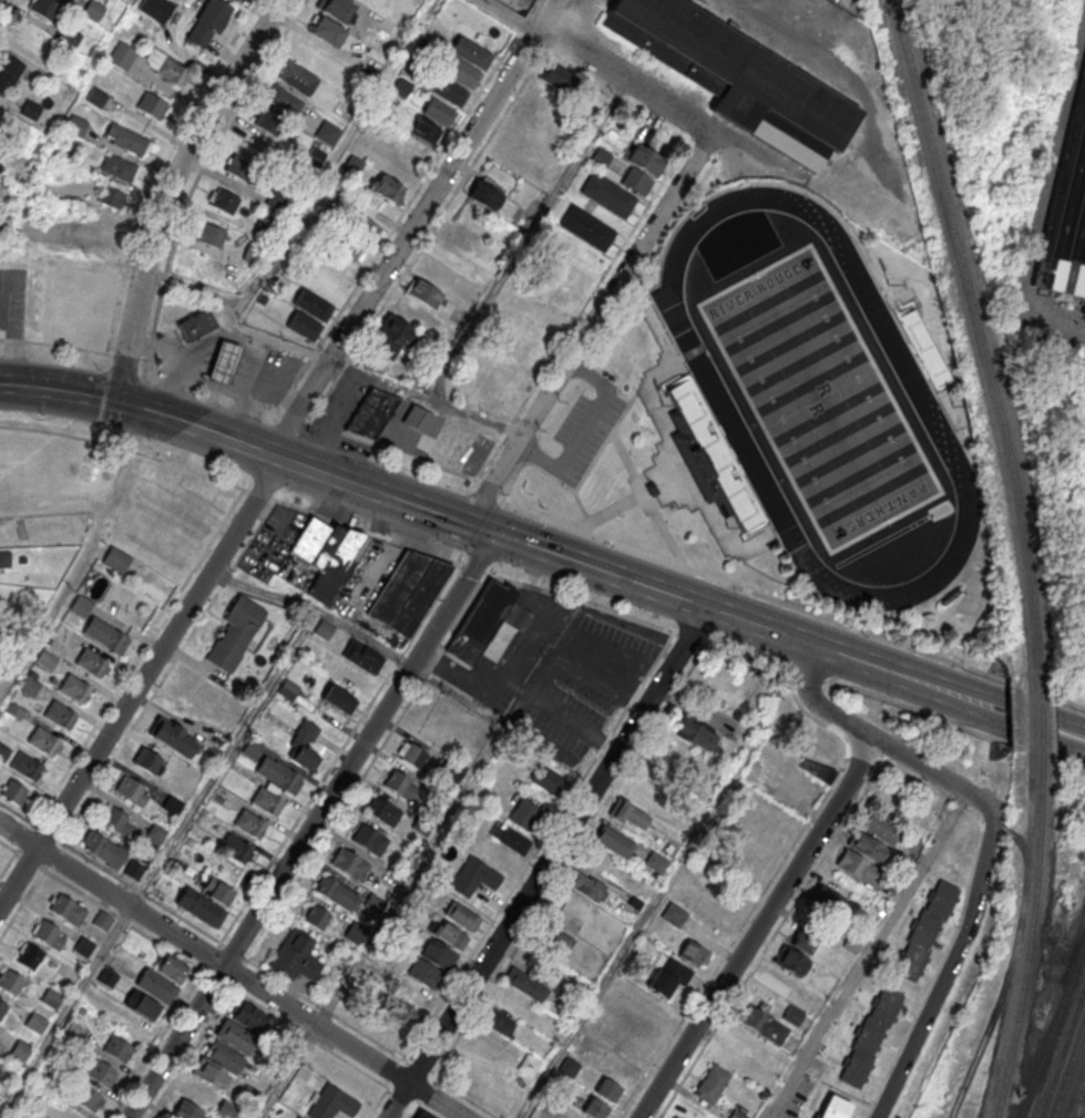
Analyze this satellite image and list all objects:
building: (47, 8)
building: (156, 8)
building: (93, 9)
building: (338, 9)
road: (508, 16)
road: (544, 16)
building: (207, 23)
building: (327, 31)
building: (122, 55)
building: (165, 66)
building: (8, 71)
building: (460, 71)
building: (297, 78)
building: (557, 78)
building: (738, 78)
road: (625, 81)
building: (96, 96)
building: (283, 99)
building: (152, 105)
building: (539, 105)
building: (439, 111)
building: (269, 122)
building: (76, 124)
building: (423, 130)
building: (126, 139)
road: (745, 150)
building: (414, 151)
road: (339, 152)
building: (64, 154)
building: (600, 158)
building: (645, 158)
building: (238, 166)
building: (119, 167)
building: (636, 181)
building: (386, 186)
road: (170, 187)
building: (485, 194)
building: (607, 194)
building: (110, 195)
building: (279, 199)
building: (224, 201)
building: (1071, 218)
building: (586, 227)
building: (209, 233)
road: (525, 240)
road: (72, 258)
building: (339, 266)
road: (192, 288)
building: (424, 293)
building: (557, 293)
parking lot: (12, 302)
building: (313, 304)
building: (196, 324)
building: (303, 325)
building: (406, 328)
road: (593, 328)
railway: (981, 341)
road: (73, 348)
building: (521, 352)
building: (222, 360)
road: (365, 377)
road: (212, 381)
road: (170, 389)
track: (714, 390)
road: (93, 397)
park: (812, 403)
building: (371, 412)
building: (417, 418)
road: (244, 419)
building: (686, 421)
road: (586, 433)
road: (124, 448)
road: (268, 469)
traffic signals: (470, 524)
road: (278, 527)
traffic signals: (494, 533)
parking lot: (273, 540)
building: (326, 554)
building: (4, 558)
building: (115, 558)
road: (488, 574)
road: (634, 583)
building: (408, 591)
building: (80, 604)
road: (541, 618)
building: (487, 619)
building: (239, 634)
building: (64, 635)
building: (105, 636)
road: (146, 642)
building: (362, 656)
building: (45, 660)
building: (91, 663)
parking lot: (556, 673)
road: (158, 685)
building: (29, 686)
building: (74, 688)
building: (288, 689)
road: (522, 691)
building: (339, 699)
building: (60, 715)
railway: (1038, 721)
building: (693, 732)
building: (172, 736)
road: (876, 738)
building: (43, 741)
building: (305, 743)
building: (252, 749)
building: (3, 752)
road: (339, 753)
building: (411, 755)
building: (147, 760)
building: (25, 766)
building: (817, 770)
building: (279, 775)
building: (549, 781)
building: (401, 787)
building: (131, 790)
building: (13, 792)
building: (267, 801)
building: (173, 804)
building: (385, 812)
road: (17, 813)
building: (628, 813)
building: (524, 814)
building: (116, 821)
building: (249, 824)
road: (310, 825)
building: (880, 827)
building: (154, 835)
building: (511, 839)
building: (370, 840)
building: (614, 841)
road: (539, 845)
building: (866, 847)
building: (236, 849)
building: (112, 854)
building: (655, 861)
road: (156, 863)
road: (546, 863)
road: (8, 864)
building: (349, 864)
building: (859, 868)
building: (473, 878)
building: (585, 885)
building: (337, 892)
road: (653, 900)
road: (101, 905)
building: (201, 907)
building: (68, 911)
building: (674, 914)
building: (316, 915)
building: (461, 916)
building: (102, 921)
road: (758, 929)
building: (927, 930)
building: (355, 932)
building: (49, 935)
railway: (1030, 936)
building: (451, 937)
building: (806, 937)
building: (554, 942)
building: (83, 947)
building: (694, 954)
building: (439, 955)
road: (872, 955)
building: (30, 957)
building: (295, 957)
building: (790, 961)
road: (231, 972)
road: (946, 972)
building: (65, 973)
building: (426, 975)
building: (106, 976)
road: (275, 977)
building: (668, 977)
building: (777, 979)
building: (10, 983)
building: (525, 984)
building: (156, 986)
building: (417, 996)
building: (51, 998)
building: (143, 1005)
building: (2, 1008)
building: (796, 1009)
building: (405, 1013)
building: (246, 1014)
building: (37, 1023)
building: (499, 1023)
building: (762, 1025)
railway: (1052, 1027)
building: (235, 1035)
building: (0, 1036)
road: (309, 1038)
building: (870, 1038)
road: (198, 1039)
road: (156, 1044)
building: (20, 1049)
building: (117, 1049)
railway: (1062, 1049)
building: (529, 1065)
building: (569, 1066)
railway: (1067, 1067)
road: (285, 1070)
building: (3, 1073)
building: (208, 1073)
building: (102, 1075)
building: (348, 1080)
building: (712, 1083)
building: (607, 1090)
road: (464, 1097)
building: (86, 1098)
building: (330, 1102)
railway: (1079, 1105)
railway: (1082, 1106)
road: (419, 1108)
building: (835, 1108)
building: (226, 1109)
building: (595, 1109)
building: (186, 1110)
building: (424, 1115)
building: (298, 1117)

